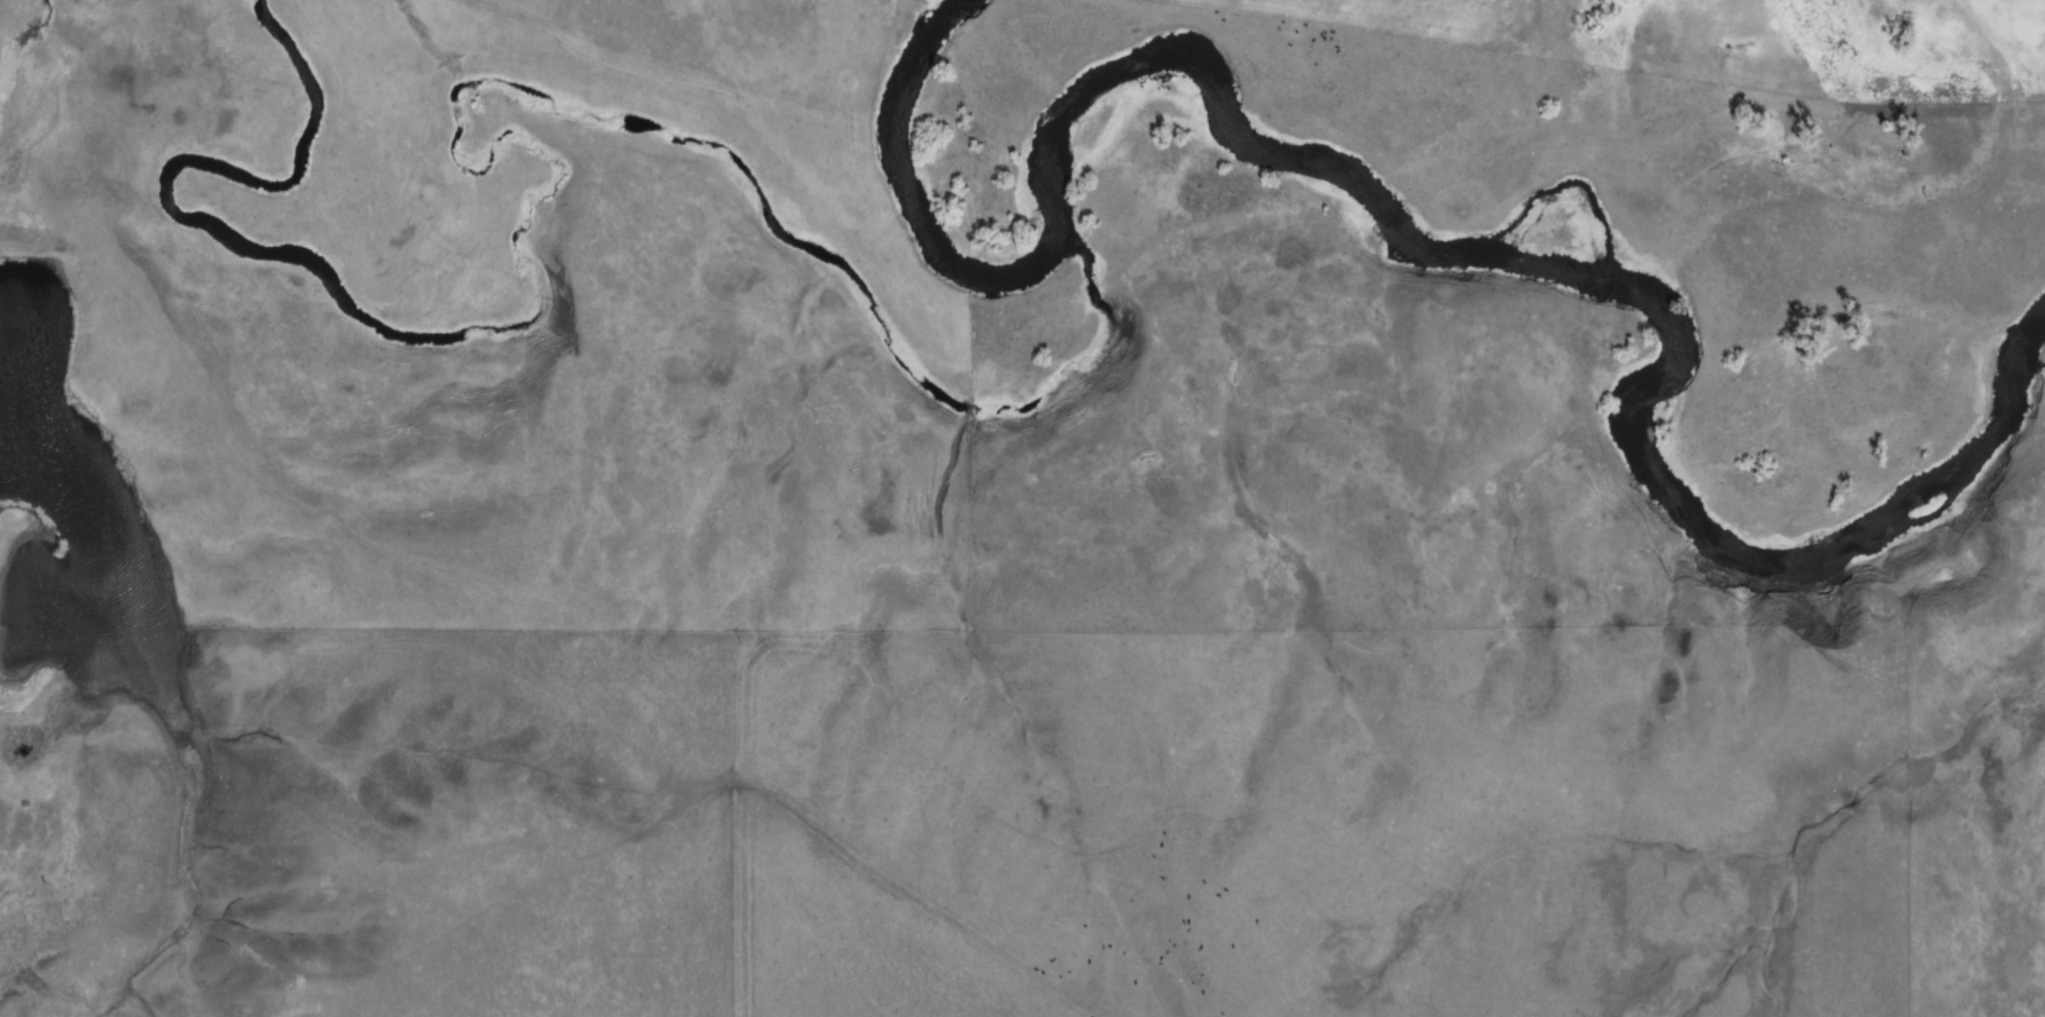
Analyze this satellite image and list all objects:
river: (1404, 251)

